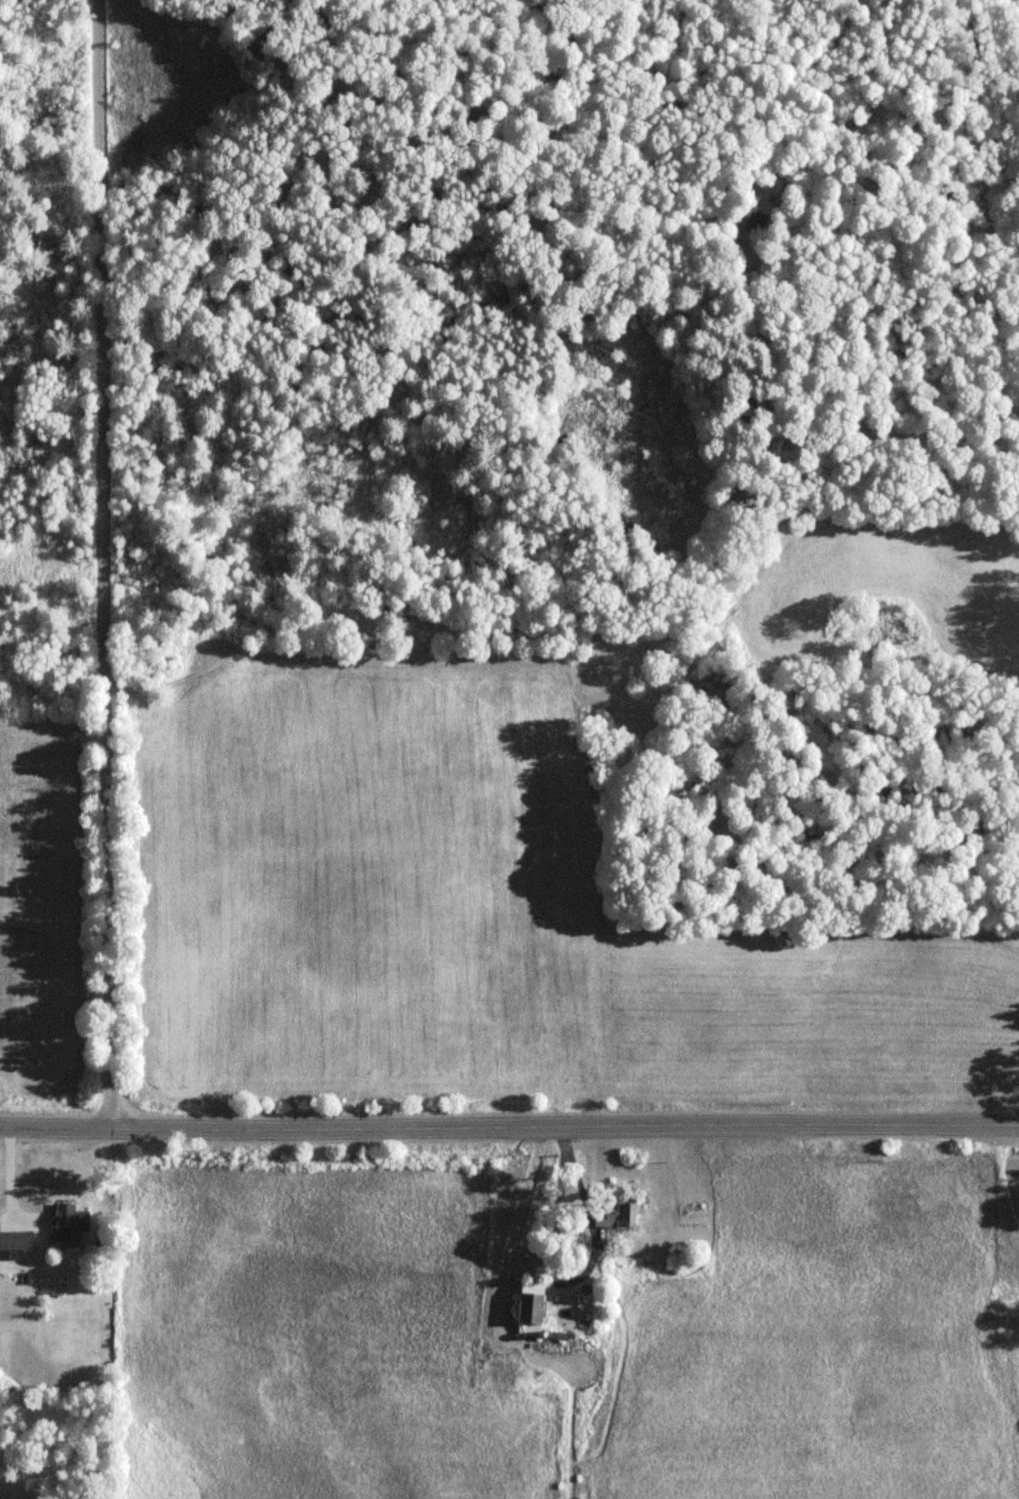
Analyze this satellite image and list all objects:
building: (749, 223)
road: (103, 563)
road: (509, 1127)
building: (69, 1224)
building: (15, 1240)
building: (530, 1309)

